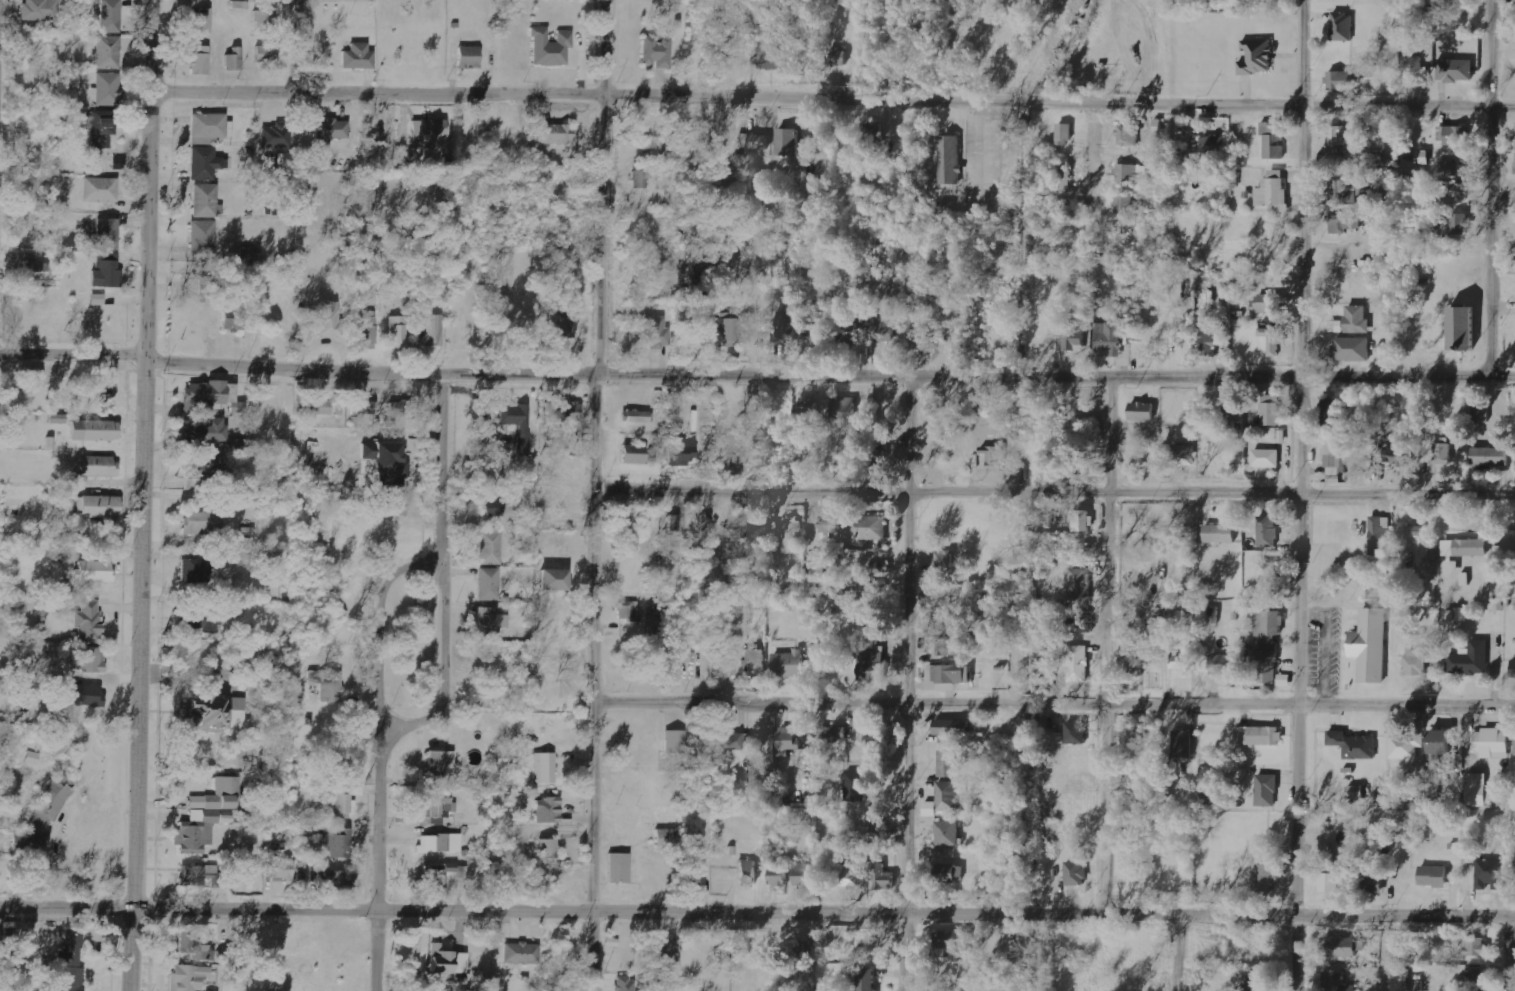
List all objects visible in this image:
building: (239, 8)
building: (41, 10)
building: (111, 16)
building: (202, 21)
building: (266, 23)
building: (1343, 27)
road: (295, 46)
building: (551, 48)
building: (109, 52)
building: (658, 52)
building: (266, 54)
building: (772, 55)
building: (359, 57)
building: (1258, 57)
building: (469, 58)
building: (838, 58)
building: (200, 61)
building: (234, 61)
building: (1415, 68)
building: (1456, 70)
building: (1340, 80)
building: (107, 90)
road: (831, 99)
building: (211, 126)
building: (332, 129)
building: (100, 130)
building: (874, 132)
building: (1065, 132)
building: (428, 134)
building: (557, 134)
building: (1343, 134)
building: (1129, 135)
building: (1453, 135)
building: (277, 137)
building: (815, 139)
building: (754, 141)
building: (787, 142)
building: (1272, 142)
building: (1215, 146)
building: (949, 160)
building: (206, 164)
building: (1453, 168)
building: (1130, 173)
building: (1064, 176)
road: (1093, 176)
road: (1489, 189)
building: (100, 190)
building: (1274, 191)
building: (1348, 191)
building: (1458, 192)
building: (206, 201)
building: (1124, 205)
building: (1343, 223)
building: (1457, 224)
building: (108, 234)
building: (203, 238)
building: (36, 272)
building: (107, 272)
building: (206, 285)
building: (97, 300)
building: (1267, 303)
building: (1357, 319)
building: (233, 320)
building: (329, 320)
building: (923, 322)
building: (563, 325)
building: (787, 325)
building: (1336, 326)
building: (1463, 327)
building: (368, 329)
building: (885, 329)
building: (398, 330)
building: (430, 330)
building: (727, 330)
building: (656, 333)
building: (1071, 336)
building: (1110, 337)
building: (1273, 339)
building: (1208, 341)
building: (1351, 349)
road: (299, 369)
road: (1057, 376)
building: (35, 377)
building: (210, 394)
building: (314, 406)
building: (364, 407)
building: (1333, 408)
building: (402, 409)
building: (806, 409)
building: (842, 409)
building: (1271, 409)
building: (1143, 411)
building: (570, 412)
building: (1481, 413)
building: (637, 417)
building: (58, 419)
building: (519, 423)
building: (95, 430)
building: (205, 431)
building: (683, 451)
building: (634, 454)
building: (1183, 454)
building: (1394, 455)
building: (1444, 455)
building: (1491, 456)
building: (994, 457)
building: (1266, 457)
building: (877, 458)
building: (1334, 458)
building: (1079, 464)
building: (391, 466)
building: (202, 467)
building: (1335, 479)
road: (1056, 493)
road: (144, 495)
road: (597, 495)
road: (1298, 495)
building: (493, 507)
building: (99, 508)
building: (1082, 520)
building: (203, 523)
building: (701, 525)
building: (756, 525)
building: (830, 527)
building: (866, 527)
building: (1268, 531)
building: (1415, 531)
building: (1220, 533)
building: (1380, 534)
building: (793, 536)
building: (674, 538)
building: (1509, 540)
building: (1465, 547)
building: (491, 548)
building: (943, 562)
road: (446, 567)
building: (882, 567)
building: (1452, 567)
building: (94, 570)
building: (194, 570)
building: (815, 573)
building: (1269, 574)
building: (1465, 578)
building: (554, 580)
building: (489, 584)
building: (1080, 584)
building: (628, 615)
building: (1207, 615)
building: (1457, 615)
road: (384, 617)
building: (204, 620)
building: (89, 622)
building: (491, 622)
building: (946, 622)
building: (1083, 623)
building: (1269, 626)
park: (416, 635)
building: (1371, 644)
road: (1103, 646)
building: (949, 647)
building: (1134, 651)
building: (1225, 659)
building: (92, 660)
building: (1076, 661)
building: (1179, 662)
building: (1416, 662)
building: (755, 663)
building: (789, 663)
building: (872, 665)
building: (1265, 665)
building: (1513, 669)
building: (947, 677)
building: (1284, 679)
road: (904, 683)
building: (328, 684)
building: (82, 695)
road: (1054, 704)
building: (216, 714)
building: (1034, 719)
building: (953, 727)
building: (834, 733)
building: (1076, 733)
building: (1260, 735)
building: (1059, 737)
building: (876, 740)
building: (731, 741)
building: (675, 742)
building: (1442, 742)
building: (1493, 743)
building: (1354, 744)
building: (1182, 746)
building: (770, 747)
building: (949, 761)
building: (442, 762)
building: (544, 768)
building: (1438, 780)
building: (1267, 790)
building: (1479, 790)
building: (1356, 792)
building: (219, 796)
building: (943, 800)
building: (340, 804)
building: (438, 805)
building: (548, 811)
building: (876, 825)
building: (196, 832)
building: (948, 833)
building: (668, 839)
building: (335, 844)
building: (440, 844)
building: (548, 849)
road: (380, 857)
building: (255, 865)
building: (1354, 866)
building: (619, 868)
building: (1264, 868)
building: (279, 869)
building: (749, 872)
building: (699, 873)
building: (805, 873)
building: (852, 873)
building: (951, 873)
building: (1076, 873)
building: (1490, 874)
building: (199, 876)
building: (438, 876)
building: (1434, 876)
building: (778, 877)
building: (883, 877)
building: (339, 880)
building: (1375, 880)
building: (1330, 882)
road: (452, 911)
road: (1209, 918)
building: (954, 944)
building: (1475, 946)
building: (195, 947)
building: (1342, 947)
building: (521, 953)
building: (669, 953)
road: (1175, 954)
road: (1504, 955)
building: (448, 961)
building: (70, 964)
building: (190, 978)
building: (1474, 978)
building: (866, 979)
building: (1336, 981)
building: (1257, 983)
building: (627, 984)

